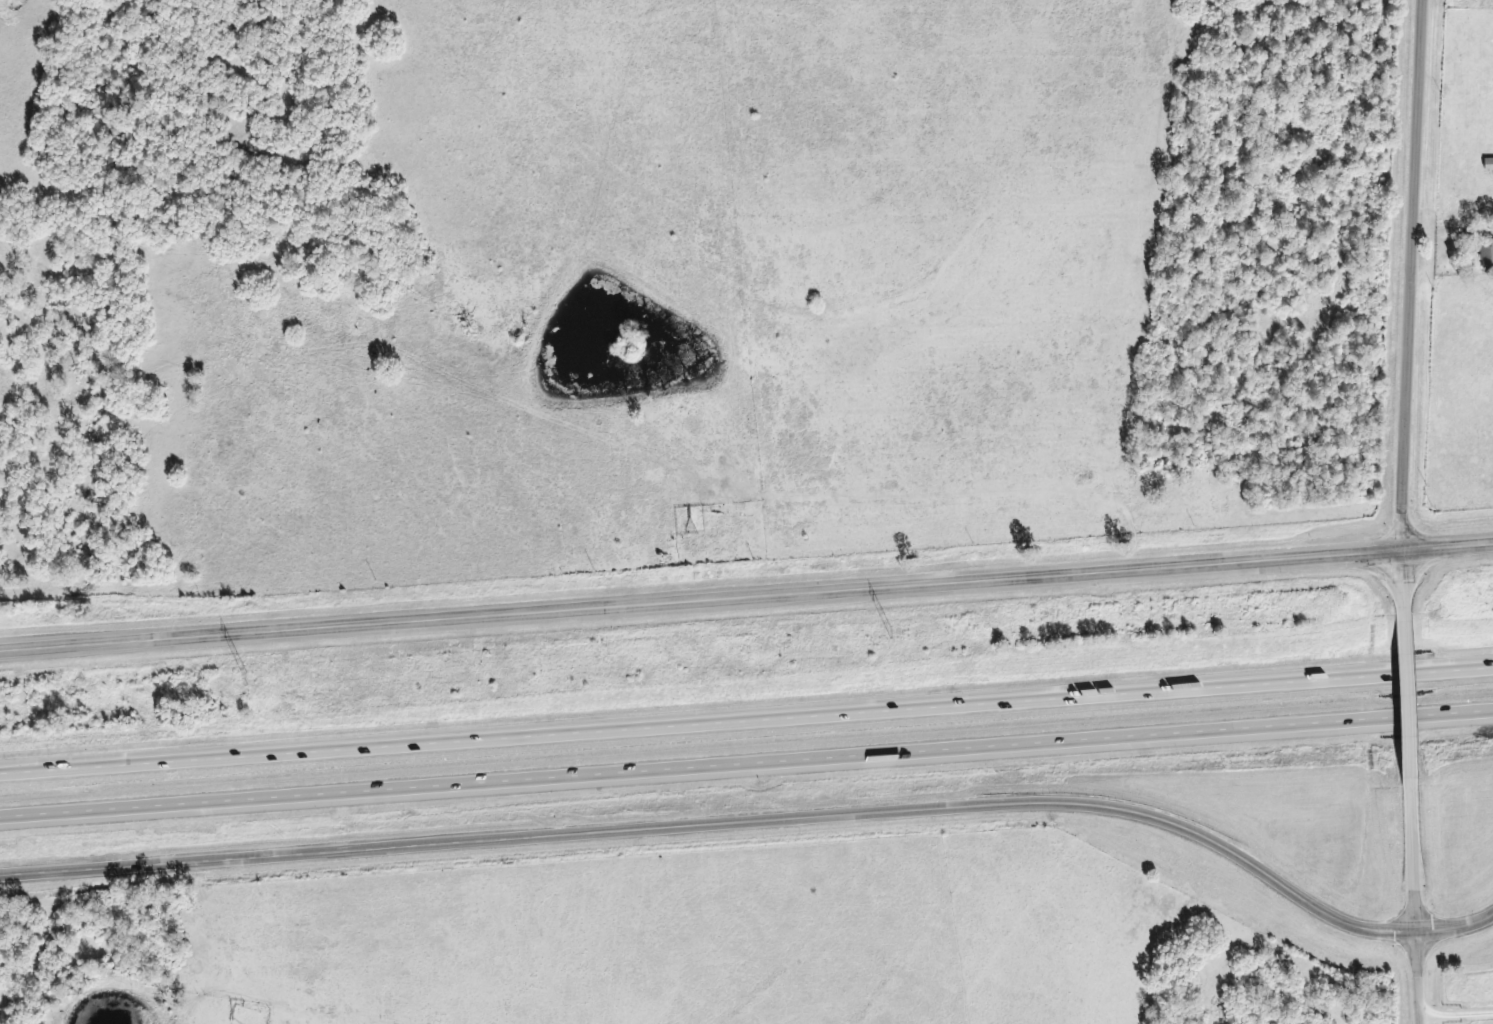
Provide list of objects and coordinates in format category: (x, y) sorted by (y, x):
building: (1485, 163)
building: (1483, 253)
road: (1416, 277)
road: (1403, 584)
road: (746, 603)
power tower: (887, 632)
power tower: (242, 678)
road: (1407, 699)
road: (746, 721)
road: (746, 769)
road: (760, 826)
road: (1415, 905)

